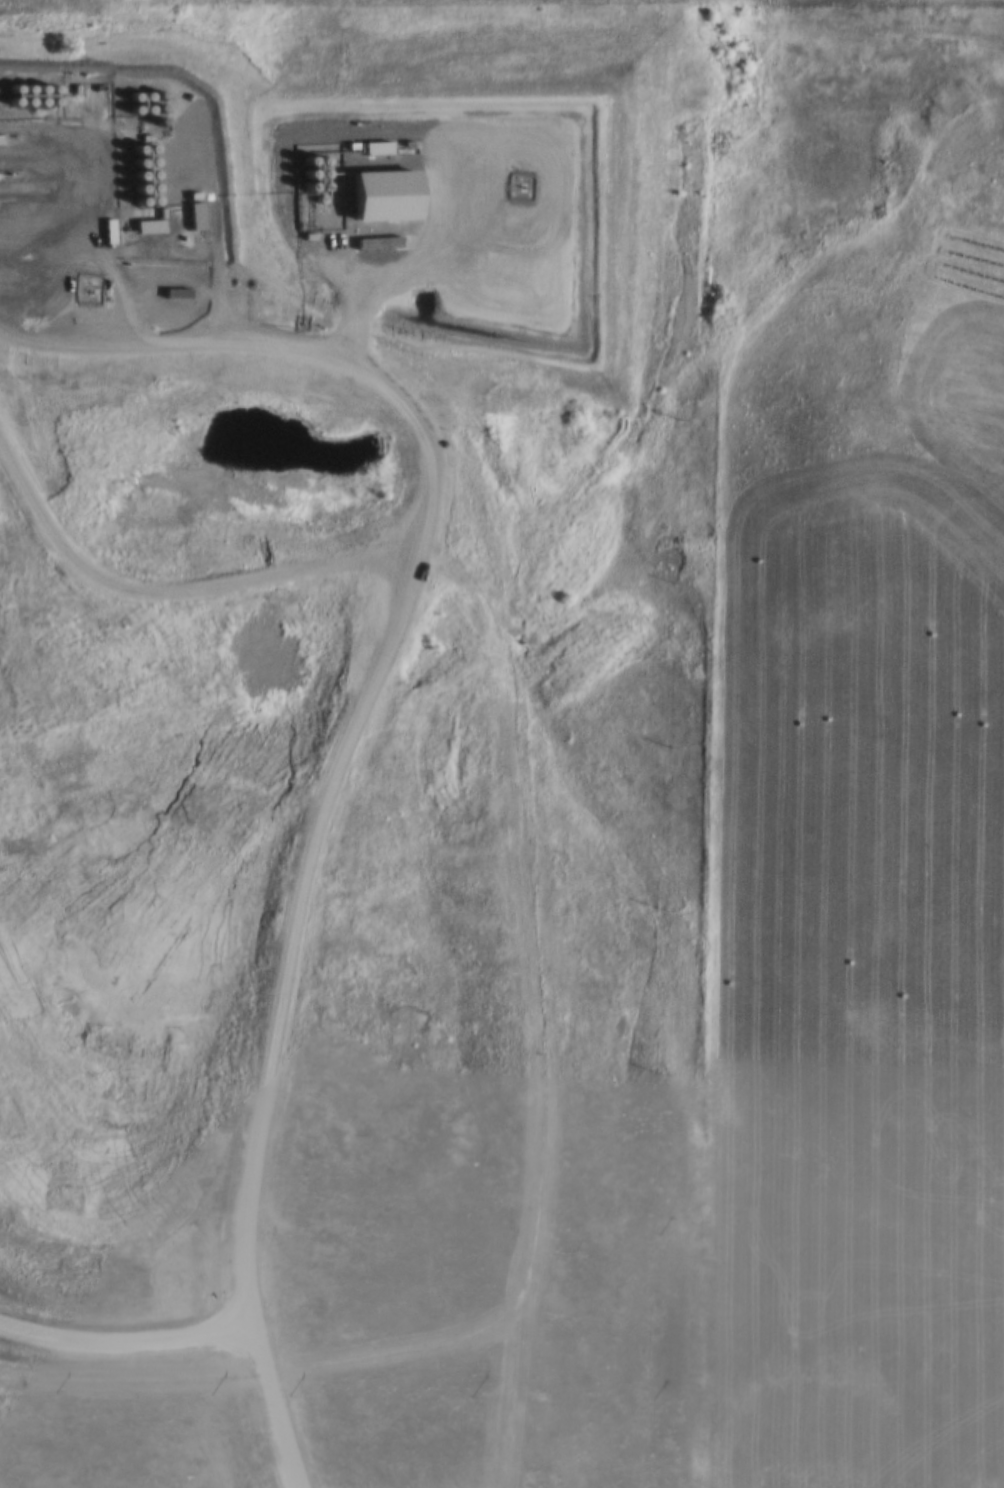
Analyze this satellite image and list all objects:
building: (201, 218)
building: (154, 227)
quarry: (963, 354)

